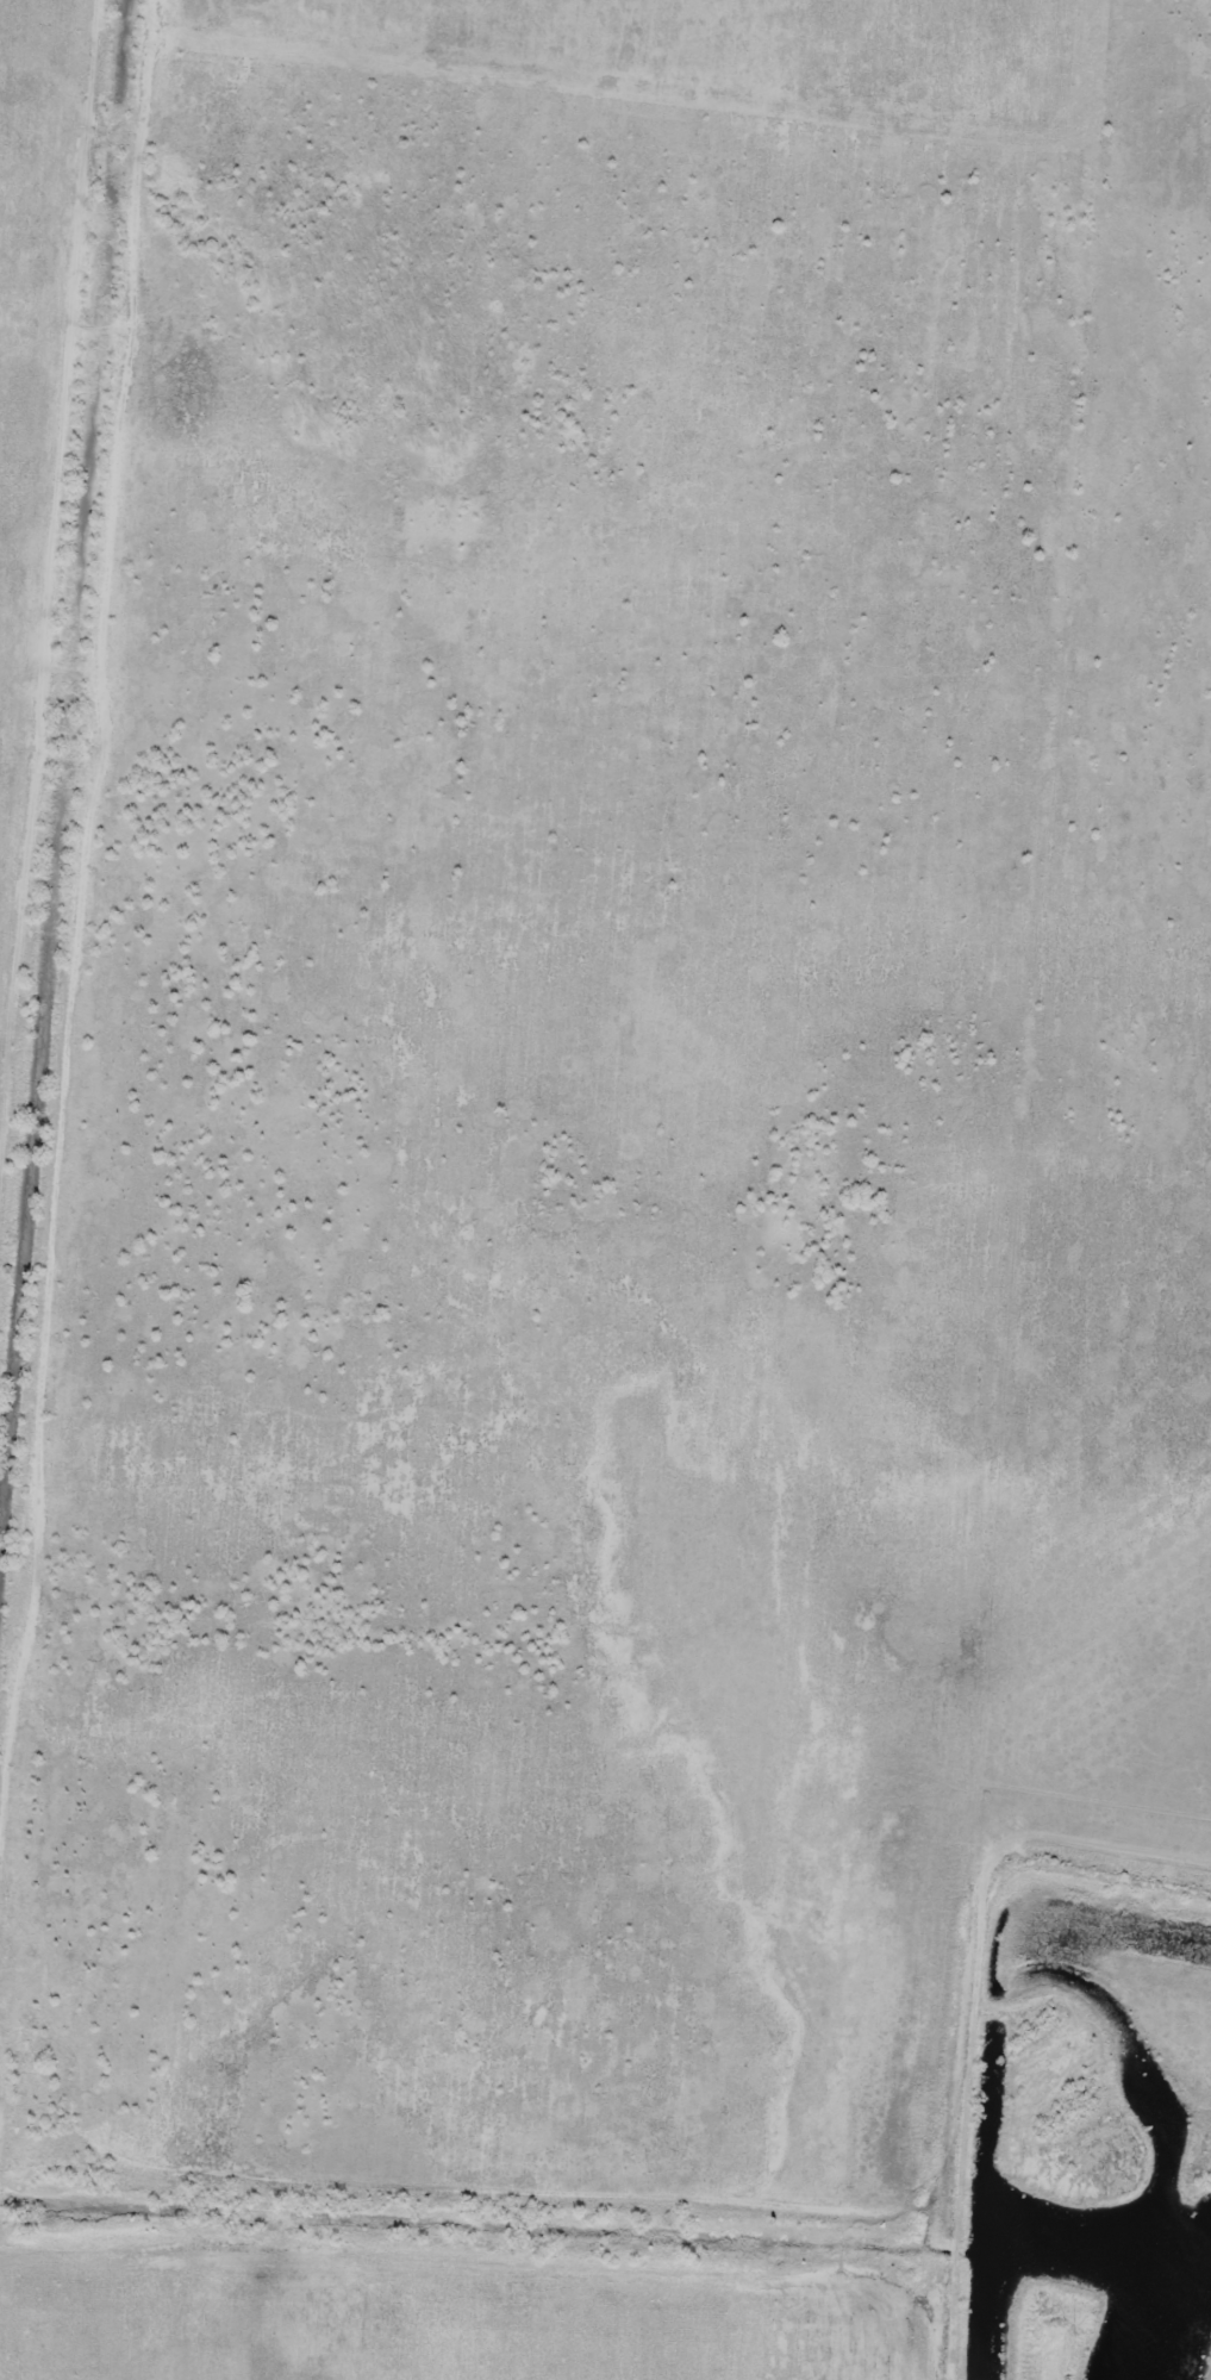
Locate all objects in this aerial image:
road: (30, 79)
road: (45, 1621)

